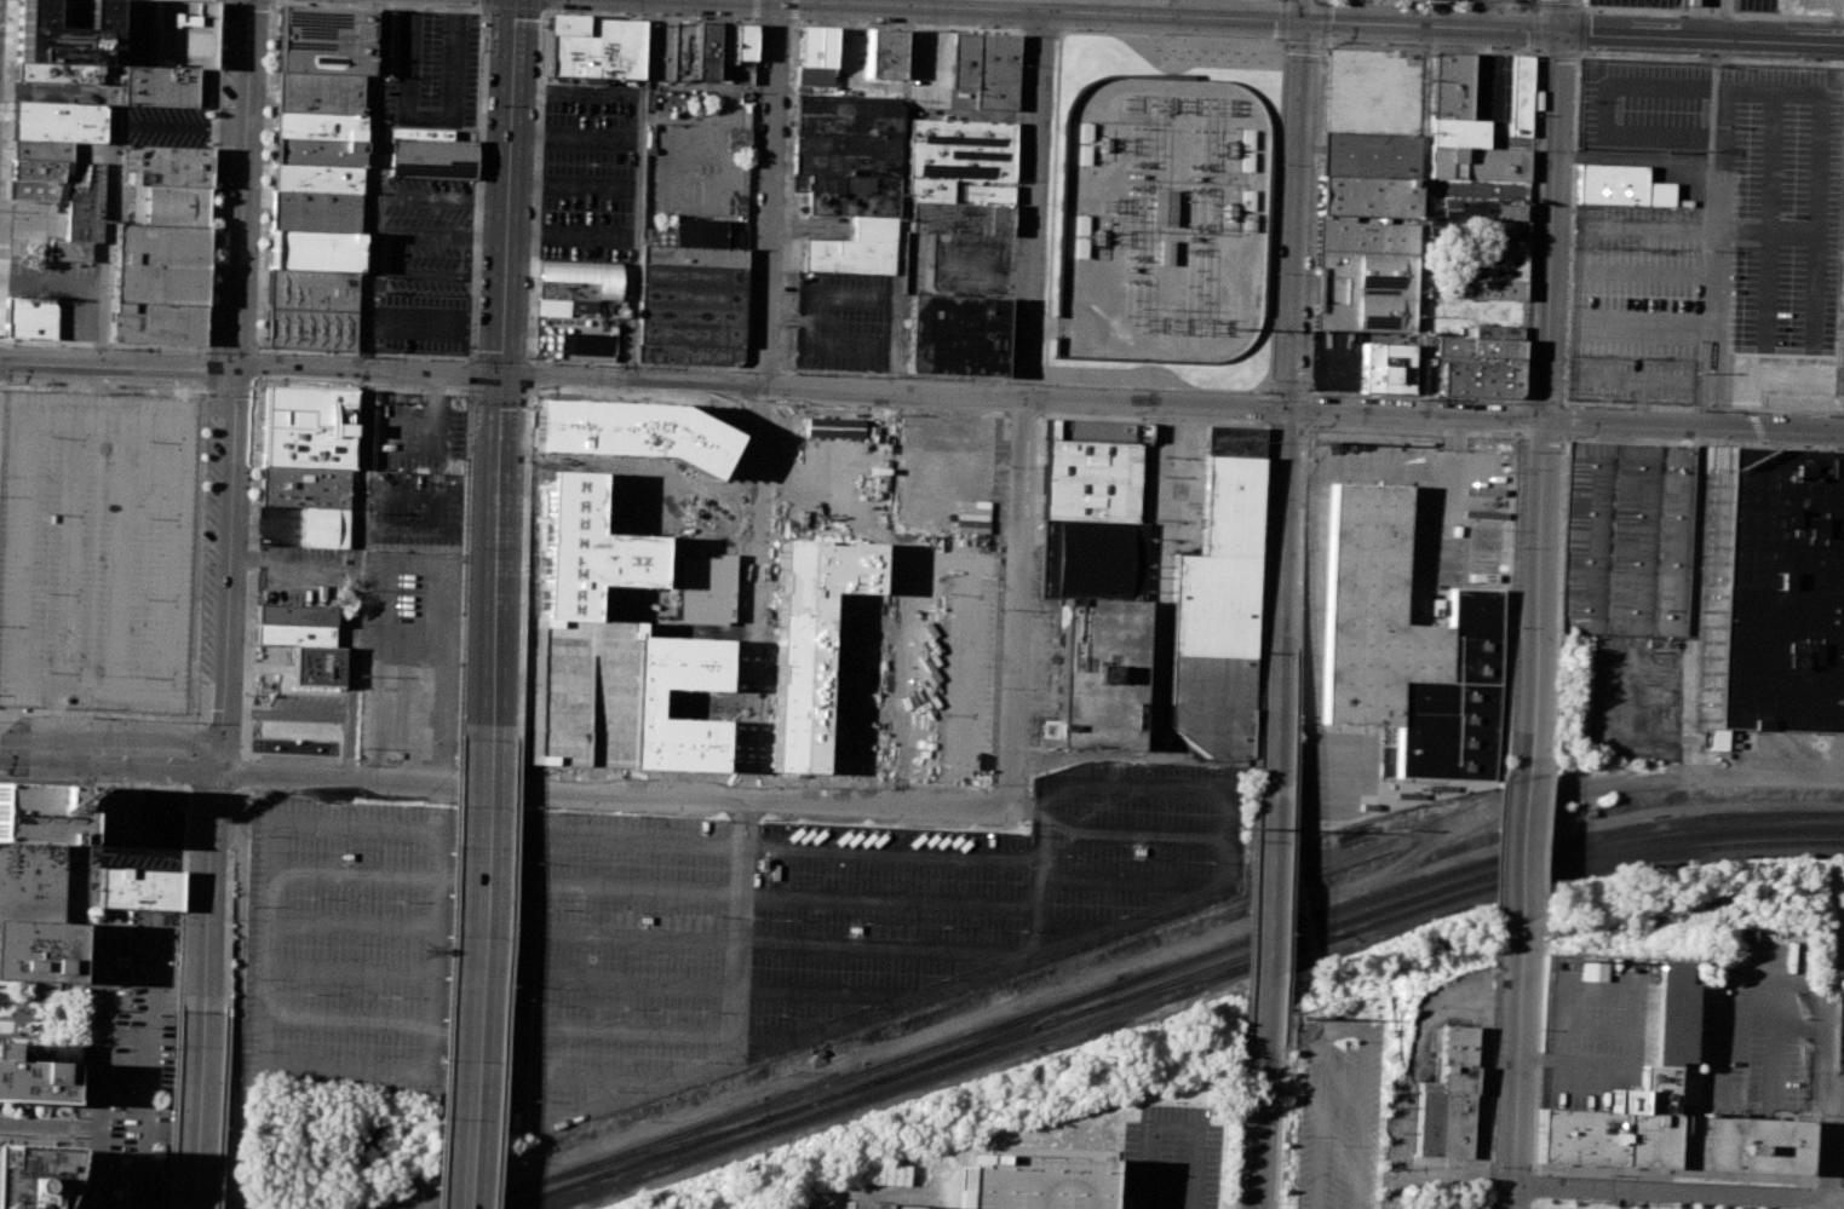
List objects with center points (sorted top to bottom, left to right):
road: (262, 0)
road: (274, 0)
street lamp: (323, 0)
parking lot: (1505, 0)
road: (484, 2)
road: (1463, 2)
parking lot: (1636, 2)
street lamp: (435, 5)
street lamp: (1578, 5)
parking lot: (1757, 5)
road: (544, 6)
road: (1555, 6)
road: (1579, 6)
street lamp: (1532, 7)
road: (1171, 8)
road: (513, 10)
road: (758, 10)
road: (794, 11)
road: (1710, 13)
street lamp: (655, 15)
street lamp: (482, 16)
road: (1131, 16)
road: (1561, 16)
street lamp: (540, 17)
road: (757, 19)
road: (1283, 19)
road: (1697, 19)
road: (1724, 19)
street lamp: (862, 22)
road: (1322, 22)
traffic signals: (1302, 23)
street lamp: (972, 27)
road: (1535, 27)
street lamp: (1069, 30)
road: (1579, 30)
road: (1019, 31)
building: (137, 33)
traffic signals: (1561, 33)
street lamp: (1156, 34)
building: (183, 35)
street lamp: (269, 36)
building: (63, 38)
building: (324, 39)
street lamp: (1266, 39)
road: (1702, 39)
road: (1302, 44)
street lamp: (1379, 44)
road: (1320, 45)
street lamp: (1482, 47)
building: (591, 48)
building: (660, 50)
road: (1536, 50)
building: (683, 51)
building: (703, 51)
building: (724, 52)
road: (1535, 52)
street lamp: (1581, 52)
building: (743, 53)
building: (886, 53)
road: (1578, 53)
road: (1558, 54)
building: (816, 56)
street lamp: (1690, 56)
road: (1539, 57)
road: (1711, 57)
street lamp: (1793, 59)
road: (1286, 61)
street lamp: (1283, 62)
building: (964, 64)
street lamp: (1022, 64)
parking lot: (430, 70)
building: (59, 75)
building: (995, 75)
parking lot: (935, 77)
building: (1452, 85)
building: (160, 86)
building: (317, 92)
road: (578, 92)
road: (1057, 94)
building: (1520, 97)
parking lot: (1779, 98)
parking lot: (1642, 108)
road: (1711, 110)
street lamp: (2, 111)
building: (58, 121)
building: (318, 125)
parking lot: (166, 126)
road: (576, 136)
building: (848, 136)
road: (4, 139)
building: (41, 150)
building: (960, 150)
building: (316, 152)
building: (1367, 152)
building: (430, 155)
road: (1632, 159)
building: (1477, 163)
street lamp: (1279, 166)
building: (165, 167)
parking lot: (588, 172)
road: (109, 183)
road: (575, 184)
building: (1616, 186)
road: (637, 191)
building: (959, 191)
building: (63, 192)
building: (423, 195)
building: (849, 195)
road: (901, 195)
building: (315, 197)
road: (770, 202)
road: (1294, 203)
building: (168, 207)
building: (1161, 208)
road: (1275, 217)
building: (959, 218)
power substation: (1160, 219)
road: (1421, 220)
road: (1551, 226)
parking lot: (27, 229)
building: (874, 229)
street lamp: (260, 232)
road: (573, 235)
building: (67, 251)
building: (314, 251)
building: (1164, 252)
building: (1363, 254)
building: (848, 255)
parking lot: (970, 265)
building: (159, 266)
building: (1497, 270)
street lamp: (1274, 275)
parking lot: (1687, 275)
road: (207, 276)
parking lot: (425, 278)
building: (576, 280)
road: (77, 287)
building: (311, 289)
parking lot: (59, 292)
road: (93, 294)
building: (691, 295)
road: (1722, 303)
road: (1705, 305)
building: (30, 317)
parking lot: (844, 321)
building: (156, 323)
power tower: (1223, 326)
road: (1041, 327)
building: (309, 328)
building: (1494, 329)
building: (957, 335)
street lamp: (260, 349)
road: (262, 350)
street lamp: (327, 355)
building: (688, 355)
road: (501, 357)
road: (475, 358)
road: (529, 359)
building: (1381, 367)
building: (1476, 367)
road: (257, 369)
road: (746, 369)
road: (205, 370)
traffic signals: (235, 370)
road: (505, 370)
road: (764, 370)
road: (1010, 379)
traffic signals: (505, 380)
road: (1026, 380)
street lamp: (1269, 381)
road: (234, 382)
road: (643, 384)
street lamp: (111, 386)
road: (1155, 386)
road: (742, 387)
road: (363, 390)
street lamp: (1256, 391)
road: (1289, 391)
road: (499, 393)
street lamp: (200, 397)
road: (435, 397)
road: (636, 399)
parking lot: (1798, 401)
road: (752, 404)
road: (1024, 404)
road: (769, 405)
road: (1682, 405)
road: (1308, 407)
road: (1268, 408)
road: (891, 409)
traffic signals: (1287, 409)
road: (1414, 413)
road: (1023, 414)
street lamp: (252, 416)
road: (398, 418)
road: (1202, 421)
traffic signals: (1543, 421)
road: (1287, 426)
road: (1693, 426)
building: (833, 427)
building: (306, 428)
building: (1098, 431)
parking lot: (415, 432)
building: (631, 432)
road: (1544, 436)
power tower: (1312, 442)
street lamp: (1266, 443)
road: (410, 448)
road: (467, 457)
building: (1090, 482)
building: (304, 487)
road: (1518, 502)
parking lot: (413, 511)
parking lot: (277, 525)
building: (321, 526)
road: (257, 528)
road: (1283, 531)
road: (1302, 537)
building: (1624, 537)
road: (196, 548)
building: (586, 548)
parking lot: (94, 549)
road: (512, 559)
building: (1092, 559)
road: (521, 568)
road: (278, 570)
parking lot: (1314, 571)
parking lot: (305, 577)
parking lot: (410, 581)
building: (703, 589)
road: (1535, 599)
building: (1759, 600)
road: (754, 601)
building: (1220, 604)
building: (294, 614)
building: (293, 633)
building: (409, 637)
building: (809, 638)
building: (1404, 646)
road: (248, 660)
parking lot: (272, 664)
building: (317, 666)
building: (1097, 677)
building: (578, 692)
parking garage: (578, 692)
building: (1584, 698)
building: (674, 702)
parking lot: (396, 708)
road: (285, 715)
street lamp: (86, 719)
street lamp: (177, 721)
road: (155, 735)
road: (44, 750)
road: (190, 753)
road: (150, 767)
street lamp: (77, 779)
street lamp: (184, 785)
road: (243, 788)
road: (611, 791)
road: (189, 805)
building: (39, 813)
building: (117, 813)
power tower: (1246, 830)
road: (1137, 833)
road: (576, 835)
road: (1527, 850)
road: (1251, 851)
road: (1271, 852)
road: (1288, 852)
road: (1503, 857)
railway: (1593, 864)
railway: (1475, 867)
building: (30, 882)
road: (1128, 882)
road: (655, 887)
building: (139, 888)
road: (211, 890)
railway: (1430, 893)
road: (1038, 902)
road: (228, 915)
street lamp: (226, 923)
parking lot: (677, 929)
road: (645, 934)
road: (97, 935)
building: (35, 950)
road: (461, 950)
power tower: (1568, 960)
building: (1592, 969)
road: (448, 974)
road: (478, 974)
road: (495, 974)
road: (504, 974)
road: (590, 980)
railway: (1193, 980)
power tower: (1300, 1018)
road: (501, 1023)
street lamp: (1539, 1030)
railway: (996, 1032)
road: (1822, 1044)
railway: (953, 1055)
road: (1520, 1057)
road: (1773, 1063)
parking lot: (126, 1066)
road: (149, 1070)
railway: (947, 1070)
road: (1497, 1070)
road: (585, 1077)
building: (31, 1081)
railway: (816, 1088)
building: (1451, 1092)
road: (1839, 1094)
railway: (821, 1100)
road: (174, 1110)
road: (199, 1111)
road: (222, 1111)
building: (1672, 1111)
parking lot: (1337, 1115)
road: (48, 1124)
road: (1240, 1128)
road: (1260, 1129)
road: (1277, 1129)
street lamp: (1535, 1132)
railway: (694, 1144)
road: (1056, 1146)
road: (1838, 1148)
road: (1831, 1150)
railway: (640, 1156)
building: (890, 1174)
building: (23, 1175)
railway: (568, 1188)
railway: (561, 1190)
road: (877, 1191)
road: (1673, 1196)
street lamp: (1539, 1199)
railway: (488, 1201)
road: (1515, 1201)
road: (1837, 1201)
street lamp: (1274, 1203)
road: (1829, 1204)
building: (864, 1205)
parking lot: (1483, 1208)

